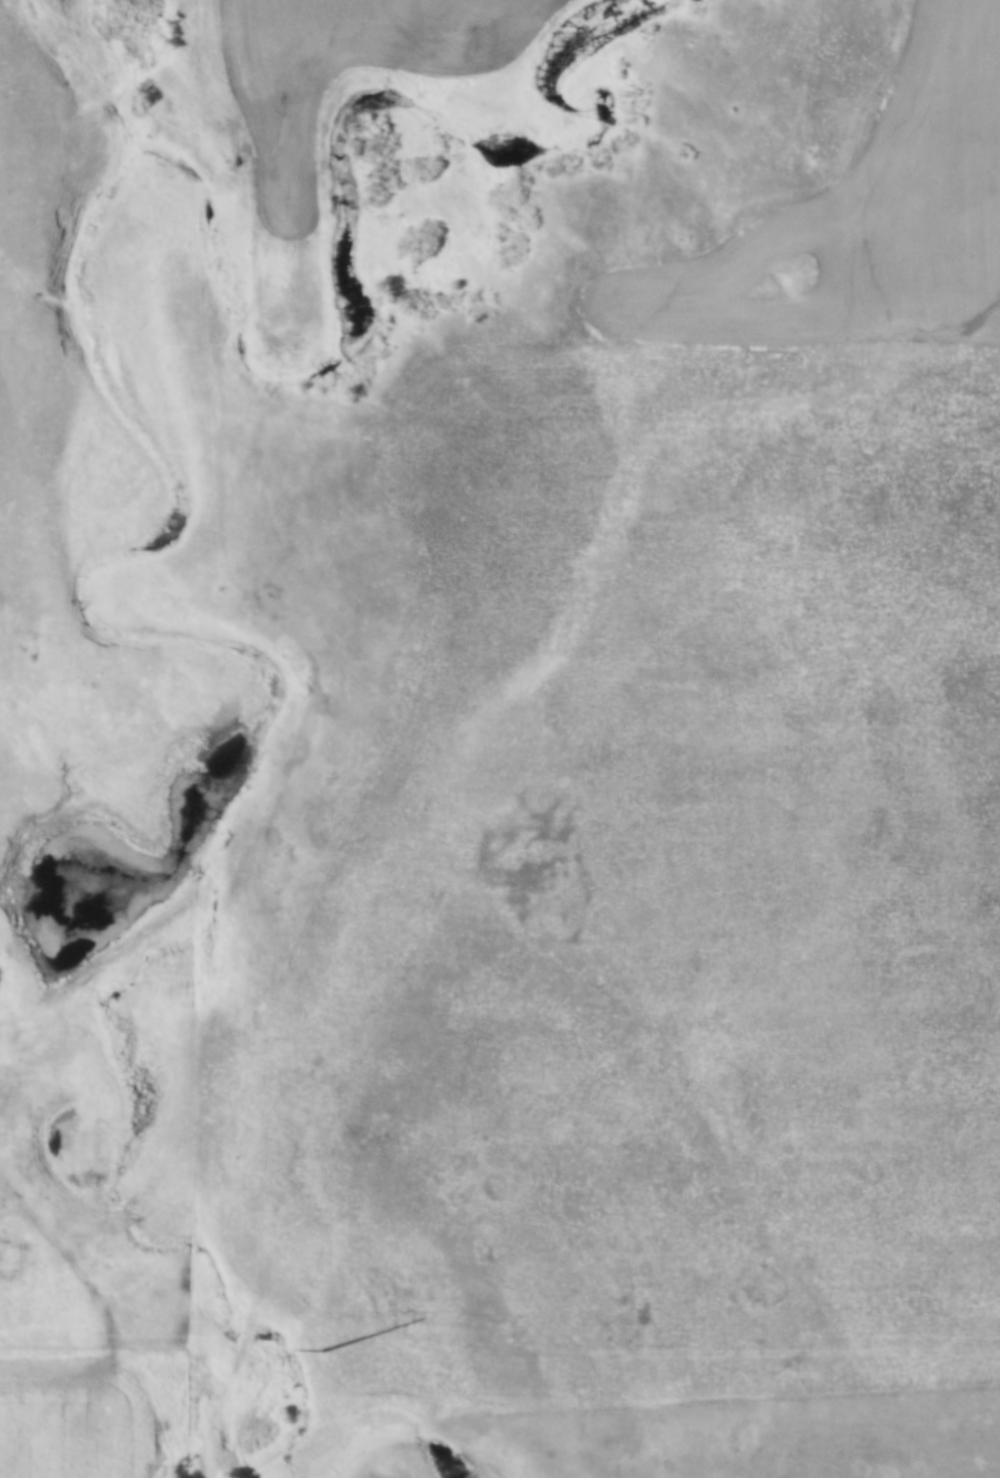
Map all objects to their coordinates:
road: (480, 849)
road: (107, 1316)
power tower: (321, 1348)

